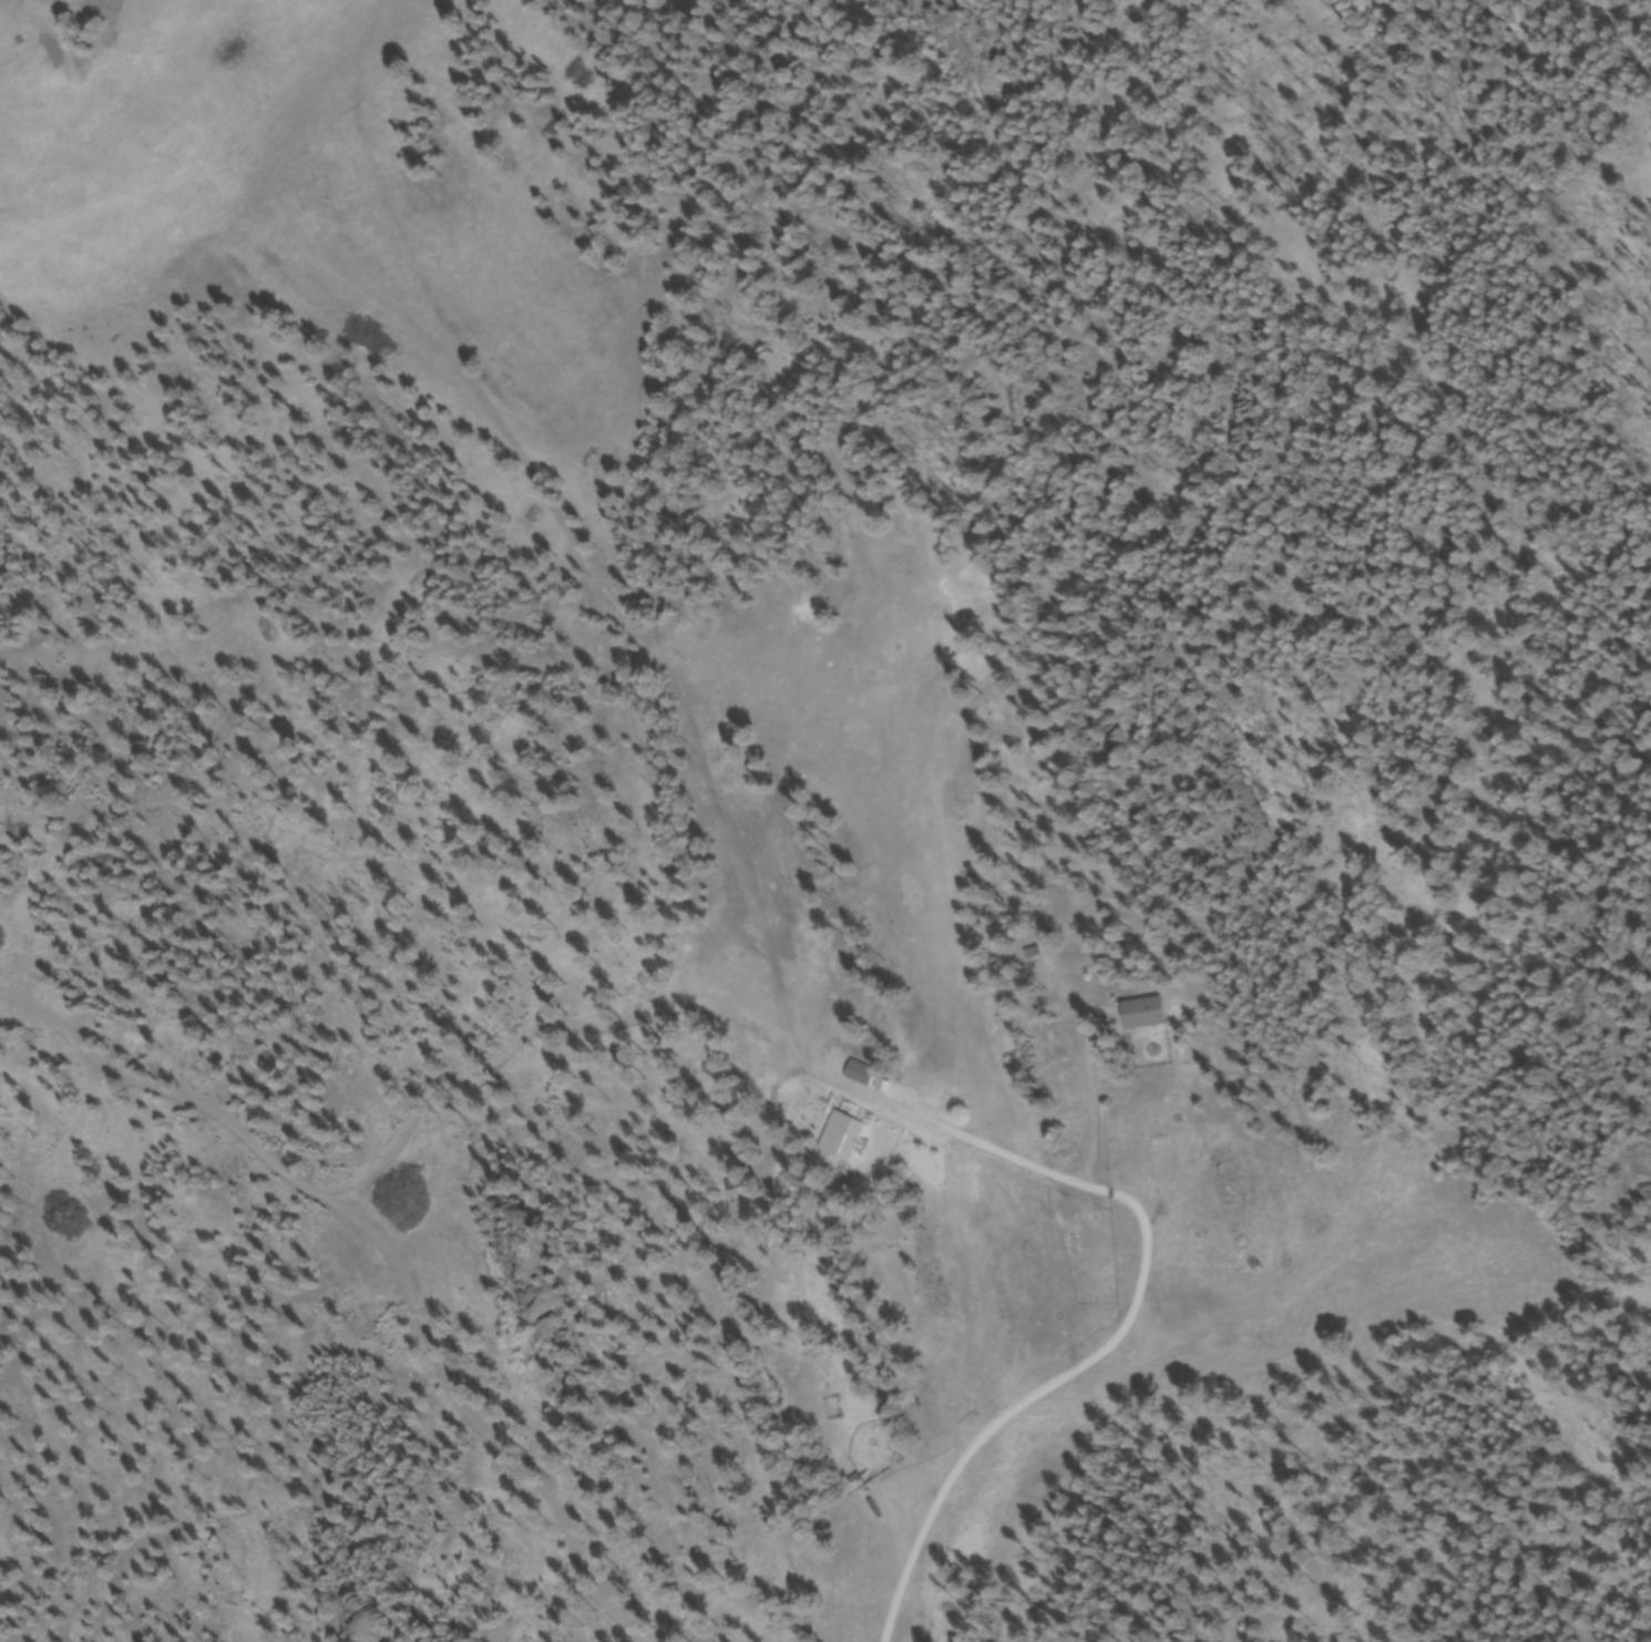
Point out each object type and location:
building: (1147, 1015)
building: (861, 1075)
building: (842, 1141)
road: (277, 1164)
building: (738, 1186)
building: (858, 1484)

